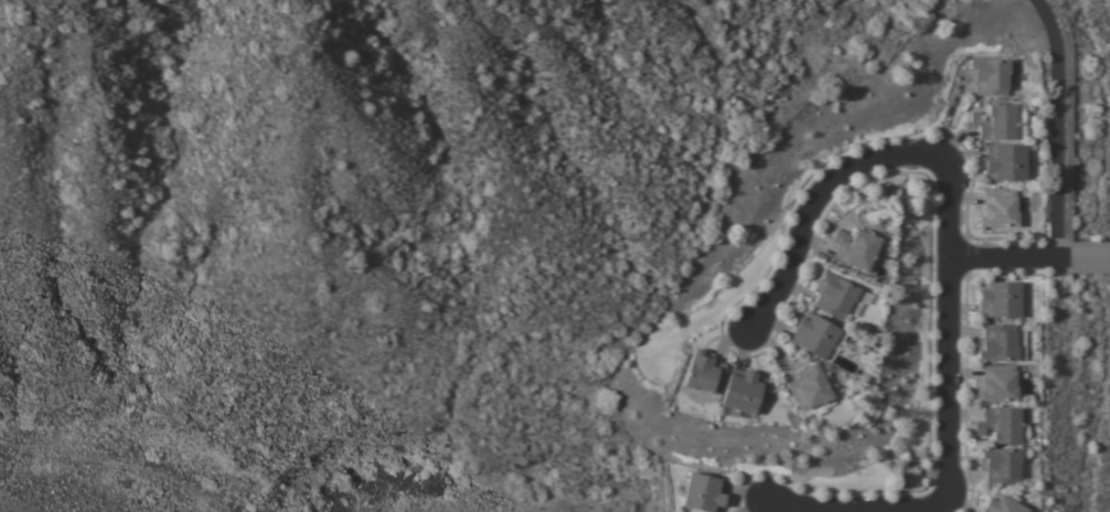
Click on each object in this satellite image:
building: (990, 76)
building: (996, 122)
road: (1058, 127)
building: (1005, 163)
road: (847, 168)
building: (997, 210)
building: (855, 248)
road: (1008, 258)
road: (1090, 258)
building: (834, 296)
building: (1000, 299)
building: (817, 337)
building: (997, 343)
building: (704, 372)
building: (997, 384)
building: (809, 387)
building: (740, 392)
building: (1001, 425)
building: (1001, 465)
road: (946, 467)
building: (703, 493)
building: (1002, 504)

